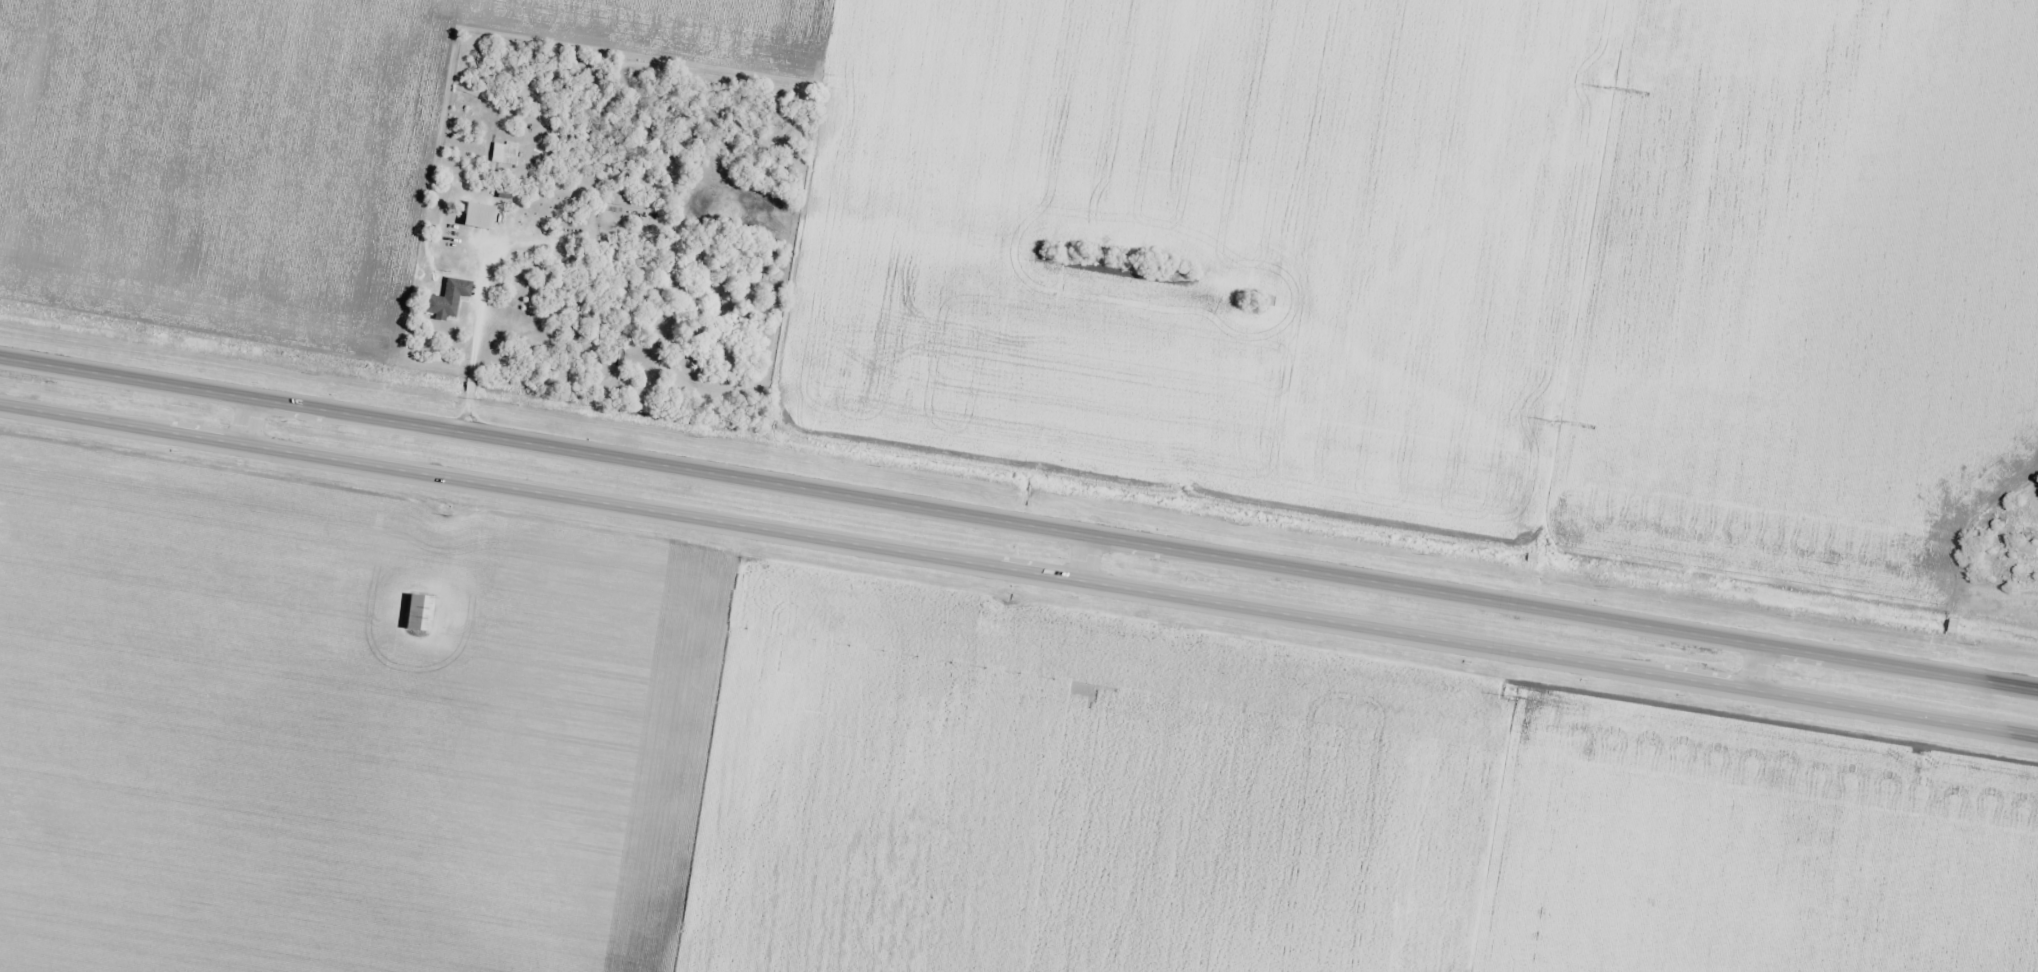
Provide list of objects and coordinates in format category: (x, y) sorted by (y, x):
power tower: (1608, 88)
building: (480, 217)
building: (449, 300)
road: (247, 420)
power tower: (1552, 421)
road: (1018, 523)
building: (2023, 546)
road: (1084, 557)
road: (1019, 569)
building: (420, 612)
road: (1755, 666)
power tower: (1508, 696)
crop: (869, 760)
building: (1672, 769)
building: (1860, 806)

